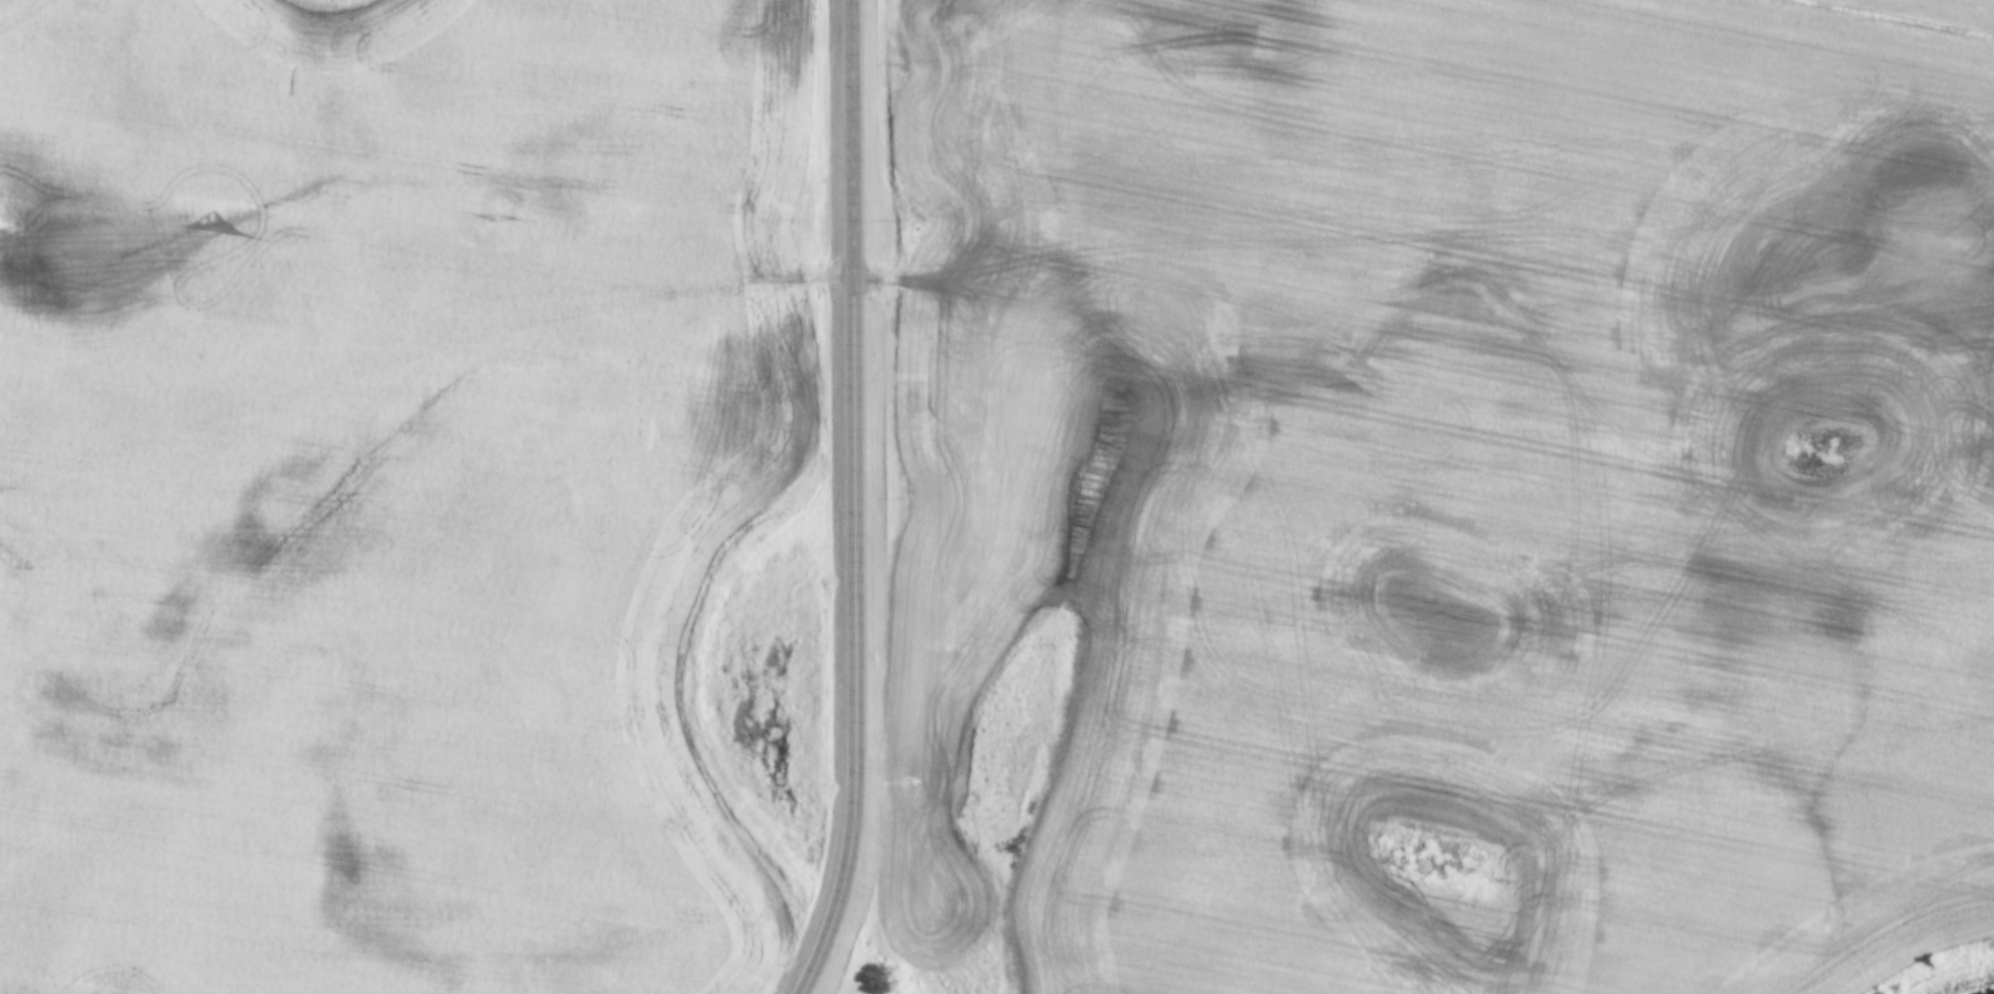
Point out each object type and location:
road: (862, 502)

